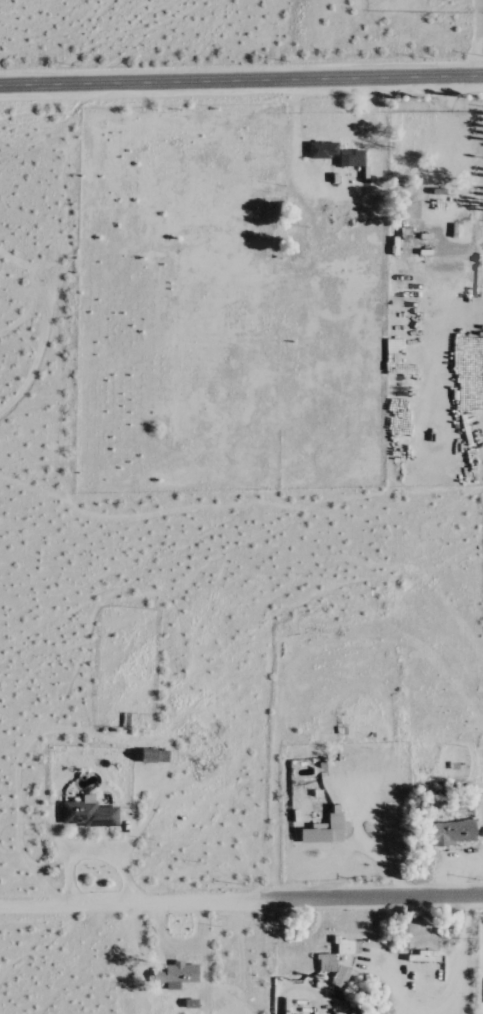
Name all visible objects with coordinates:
road: (241, 80)
road: (378, 898)
road: (136, 903)
building: (175, 976)

